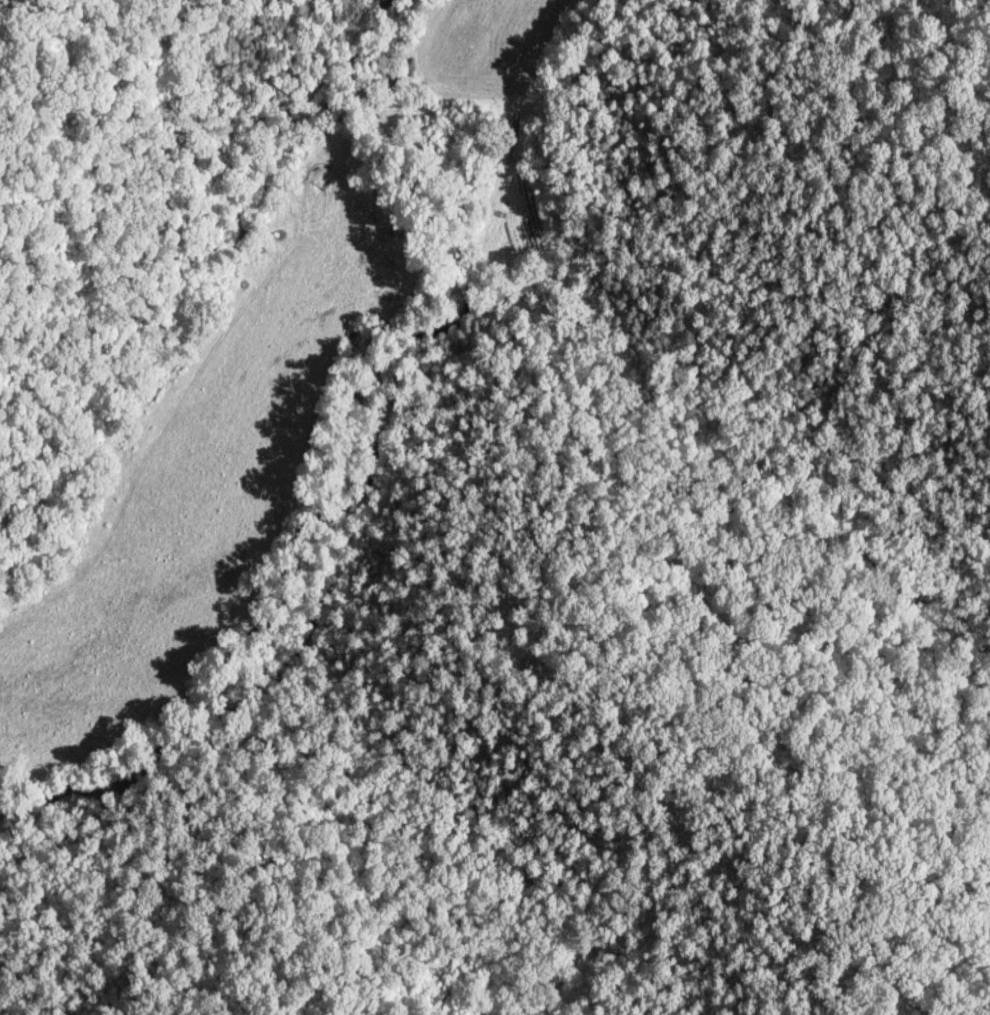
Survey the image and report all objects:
road: (276, 276)

